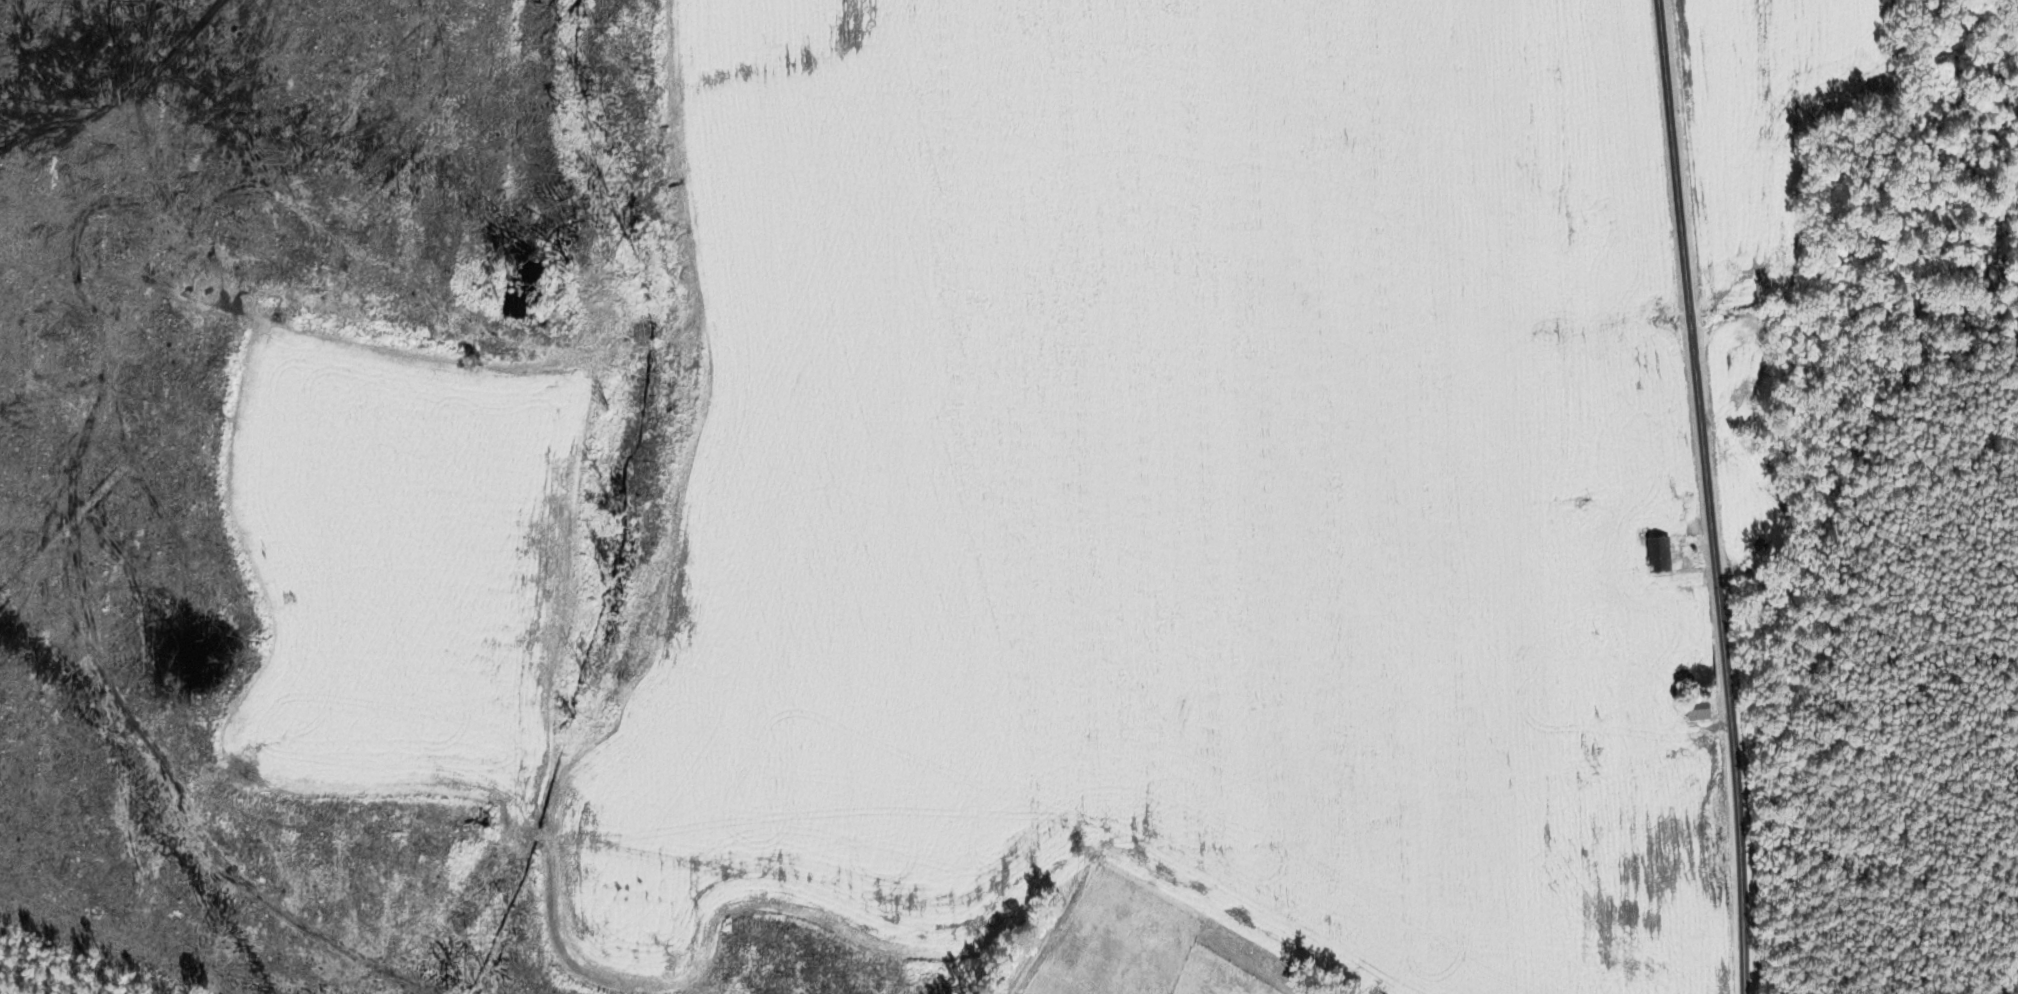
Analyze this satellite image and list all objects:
crop: (1771, 123)
road: (1708, 496)
crop: (1078, 506)
building: (1655, 556)
building: (1695, 709)

